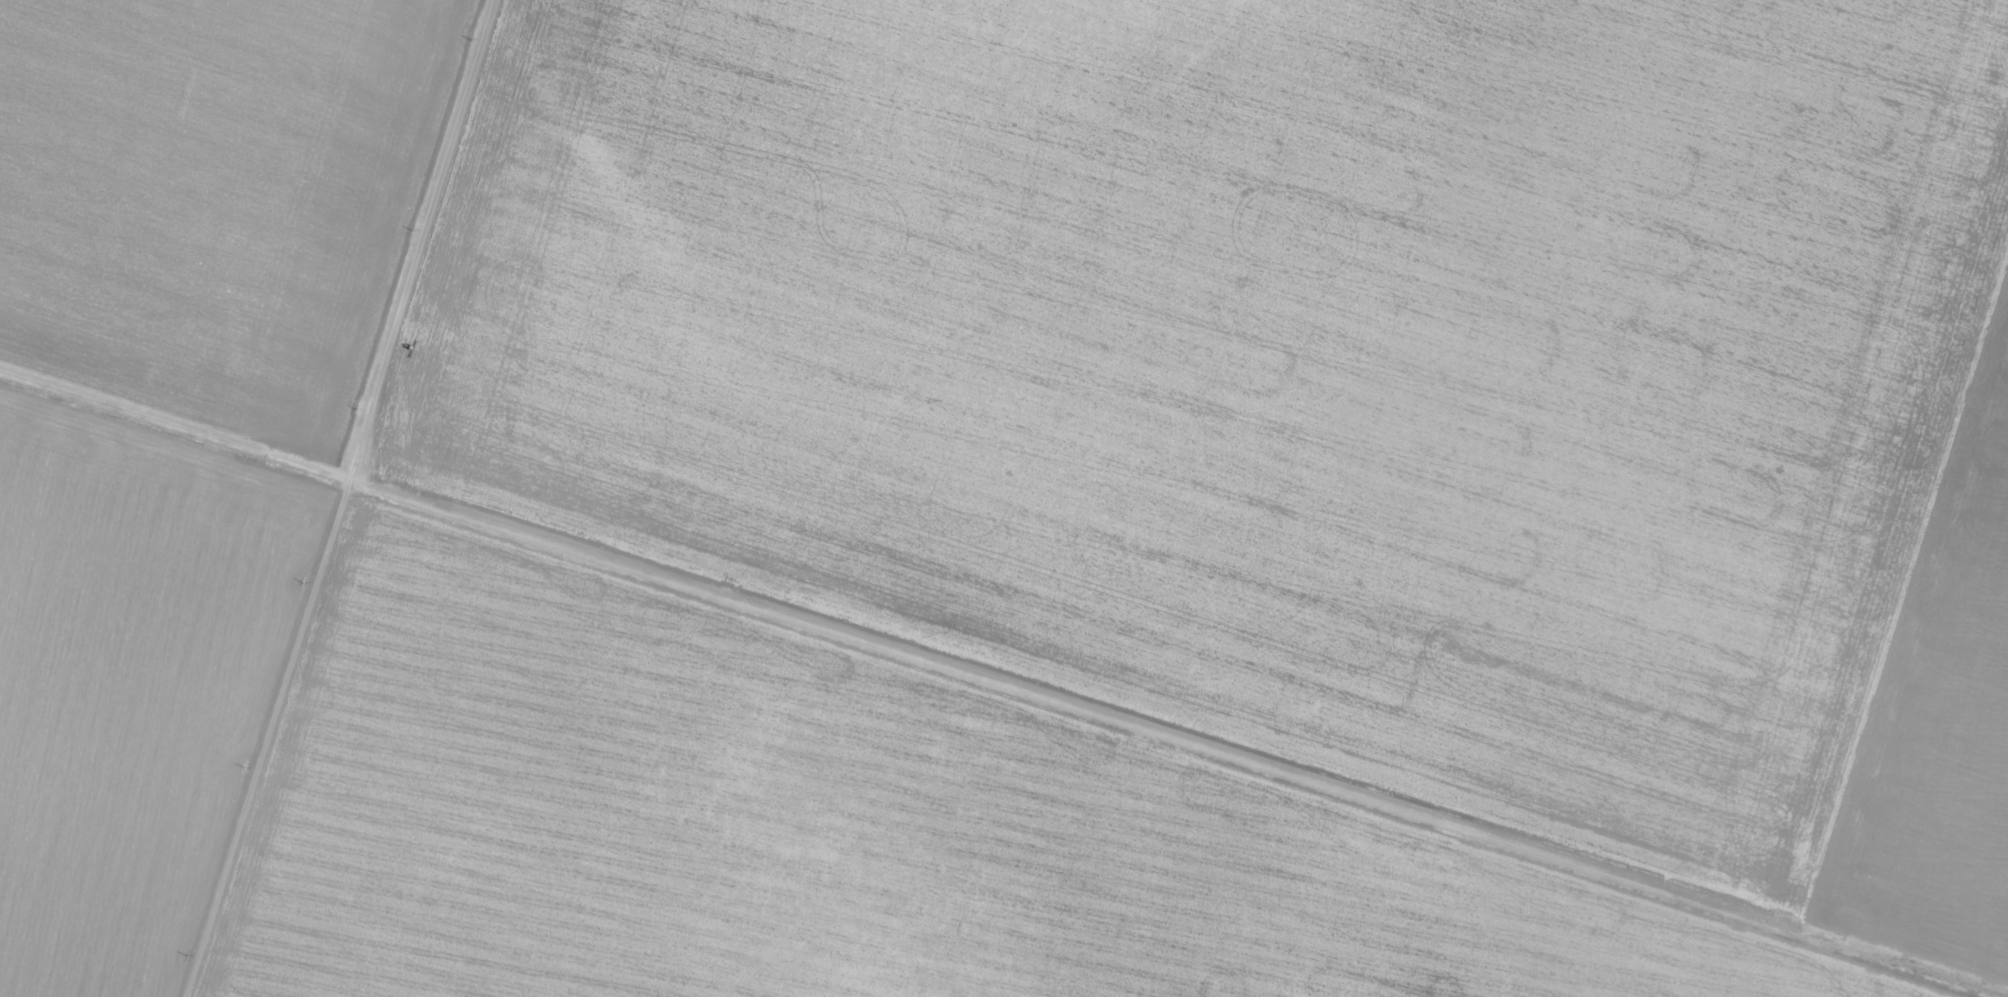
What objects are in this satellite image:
road: (354, 501)
road: (983, 677)

